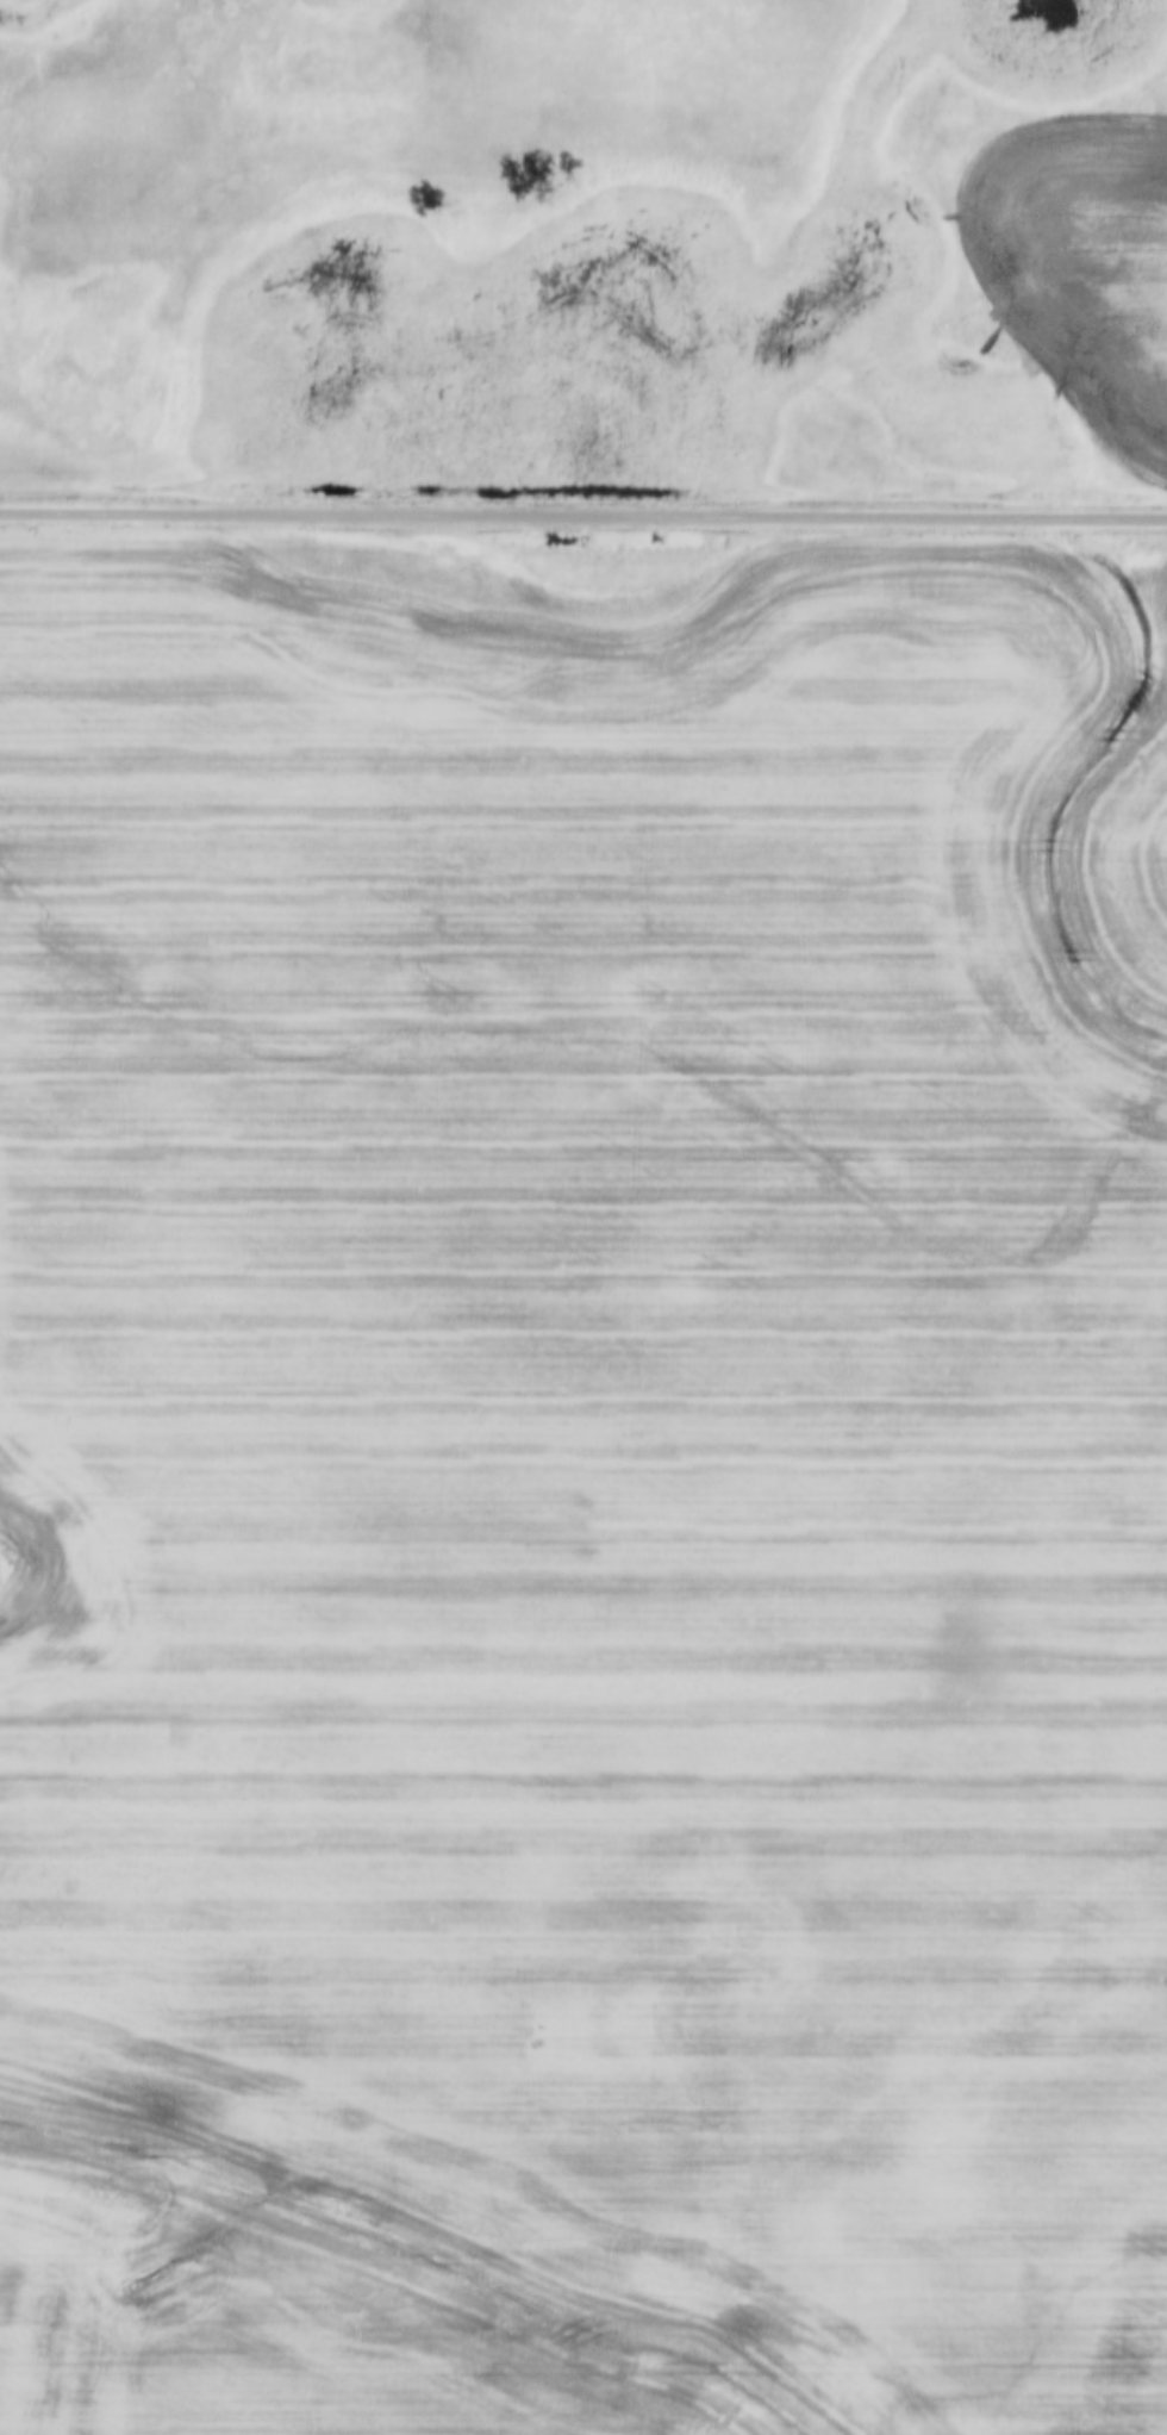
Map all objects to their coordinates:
road: (582, 518)

